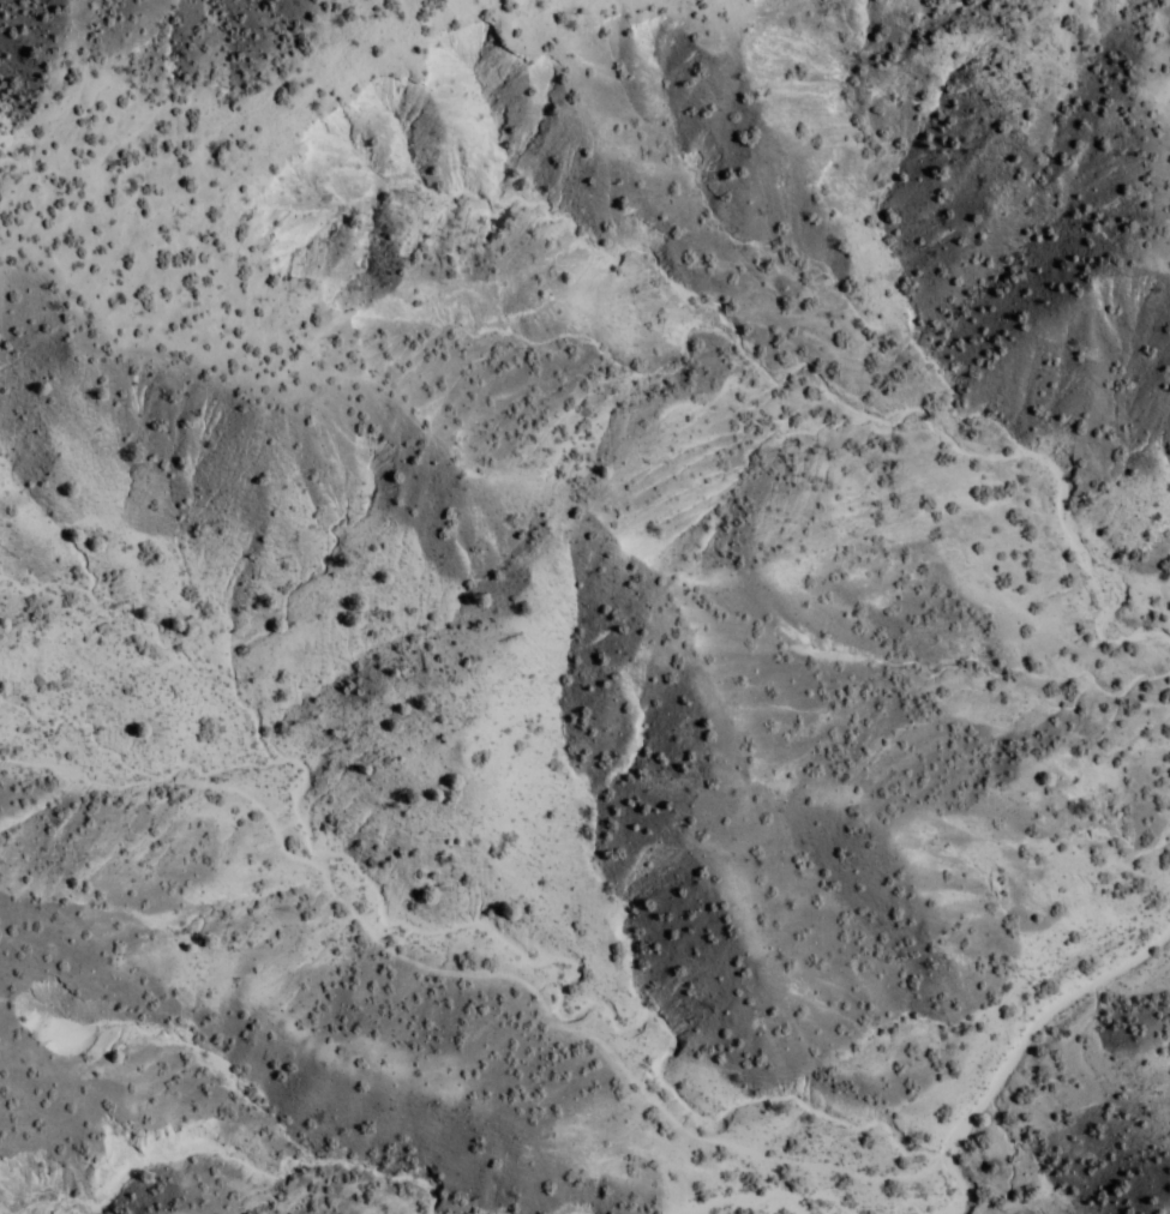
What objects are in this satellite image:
road: (467, 973)

